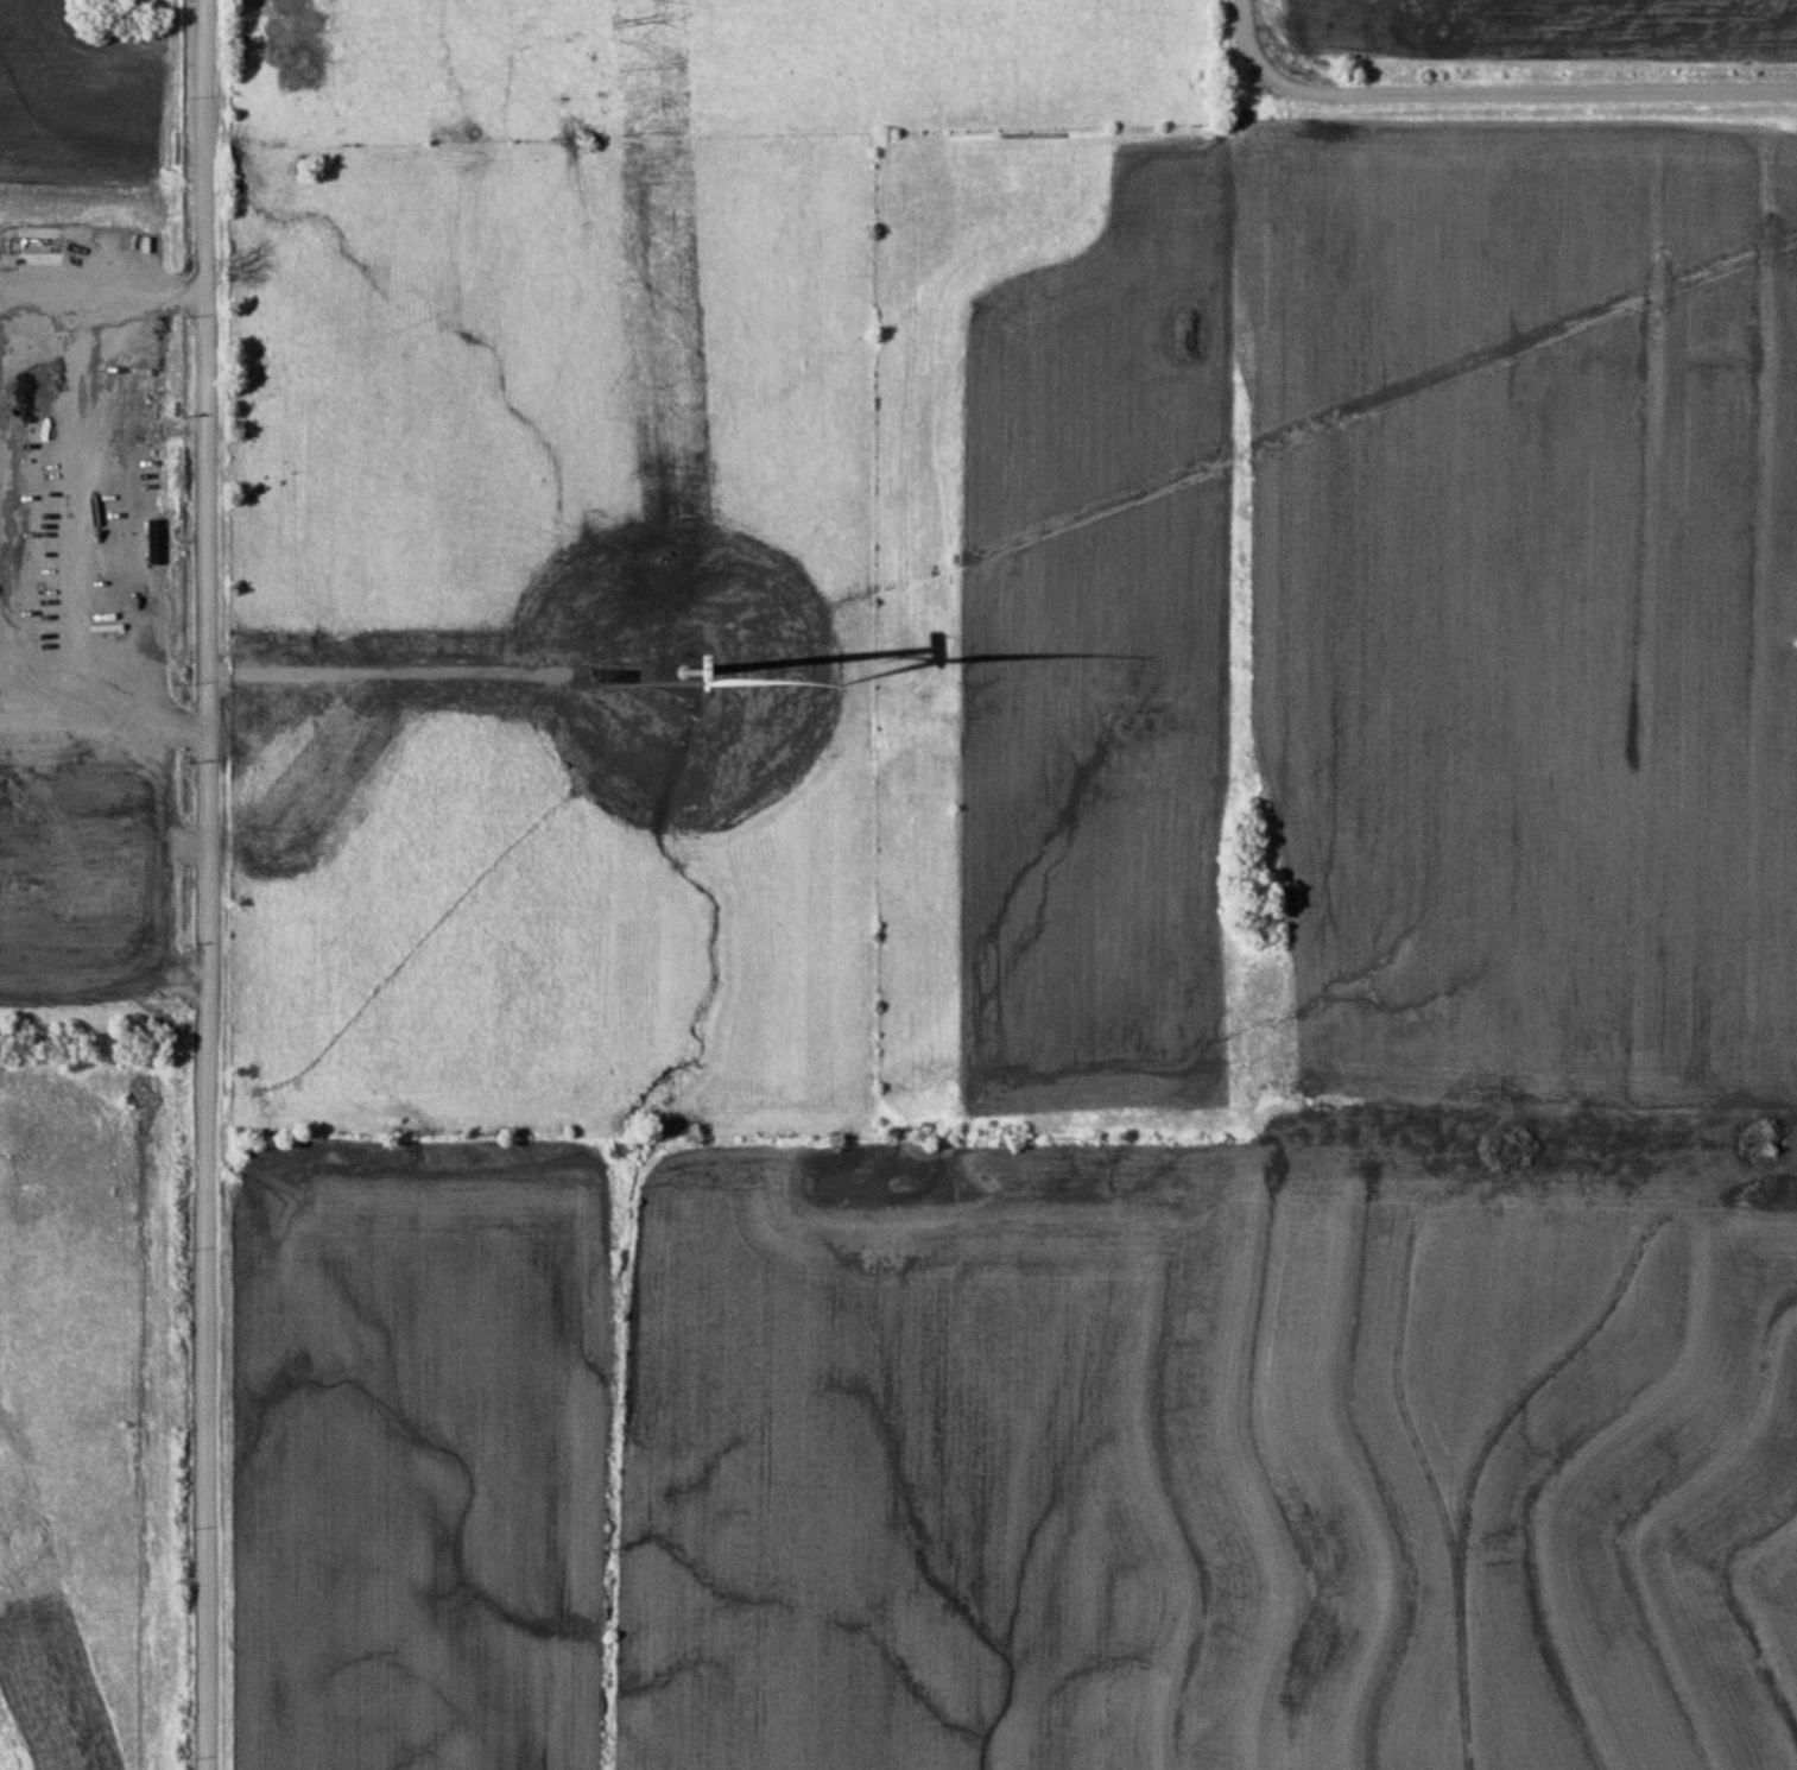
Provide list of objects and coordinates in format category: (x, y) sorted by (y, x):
road: (1488, 93)
wind turbine: (688, 674)
road: (203, 885)

